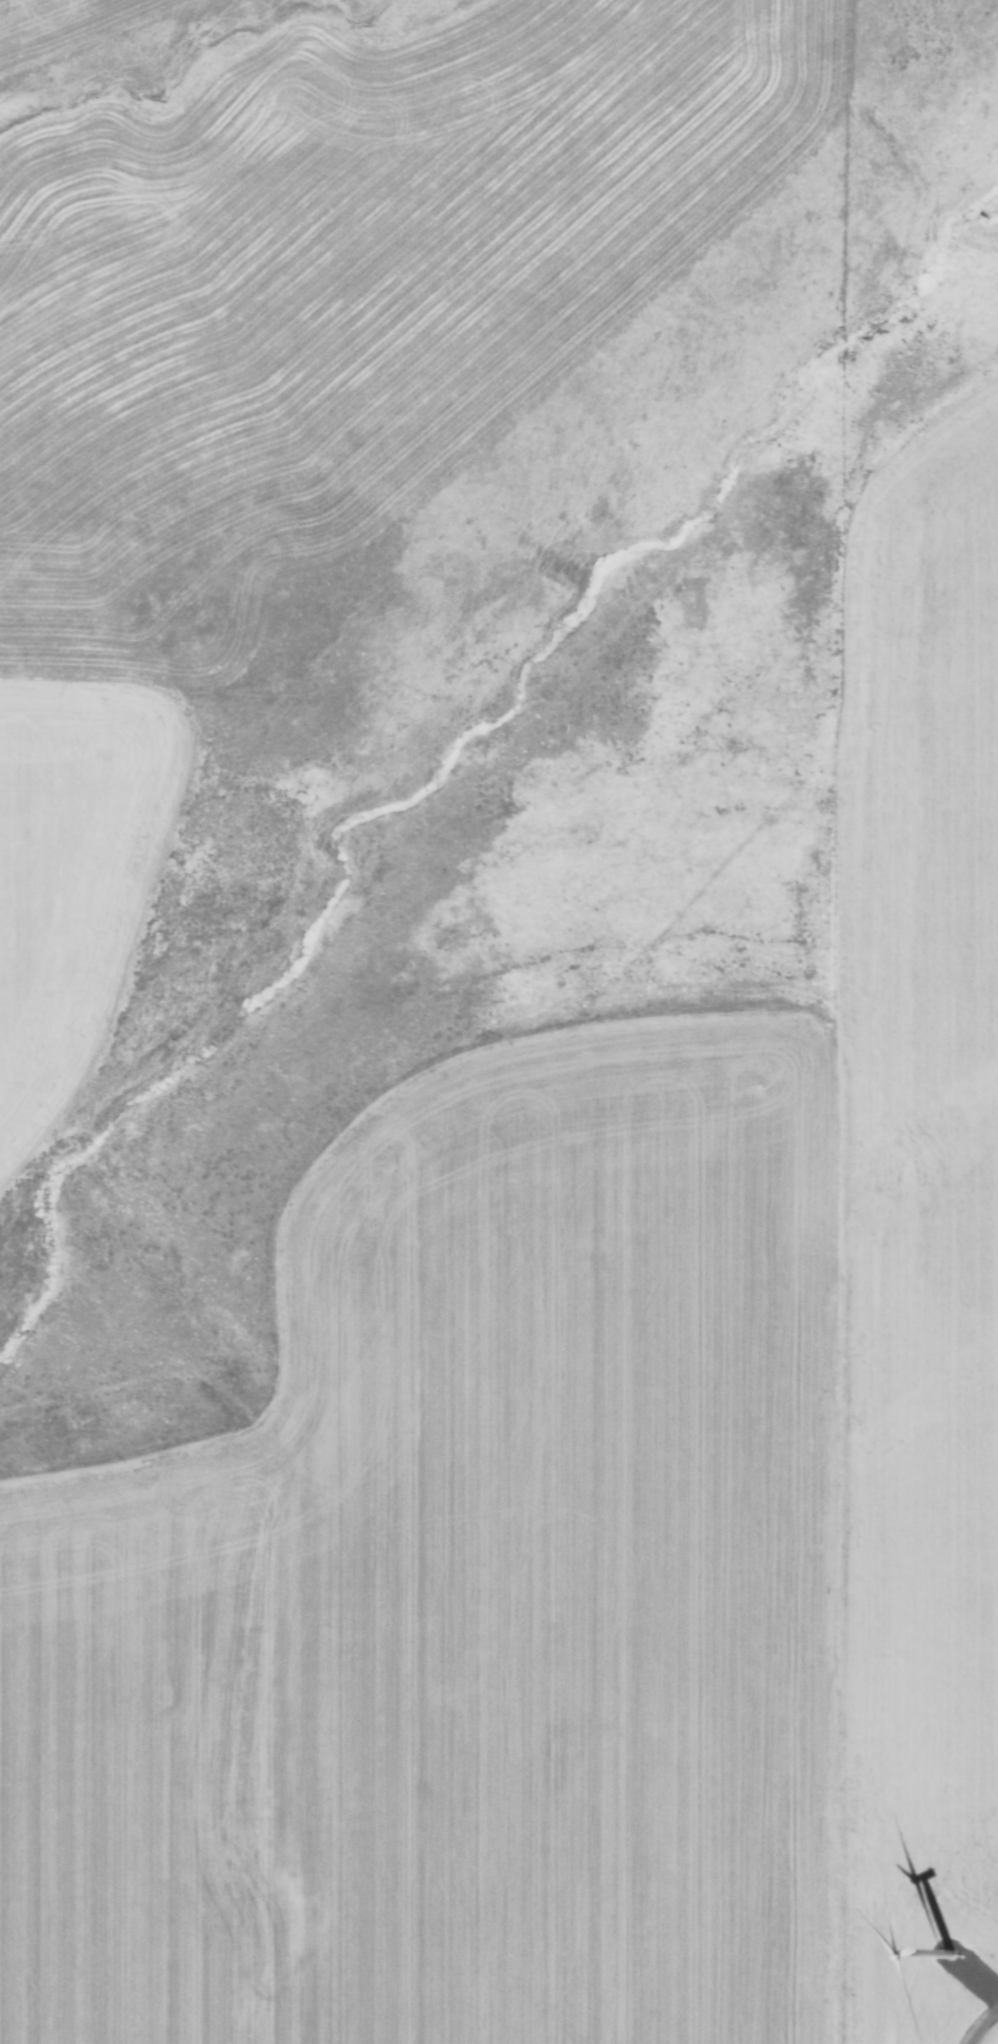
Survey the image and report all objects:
wind turbine: (944, 1963)
road: (972, 2013)

